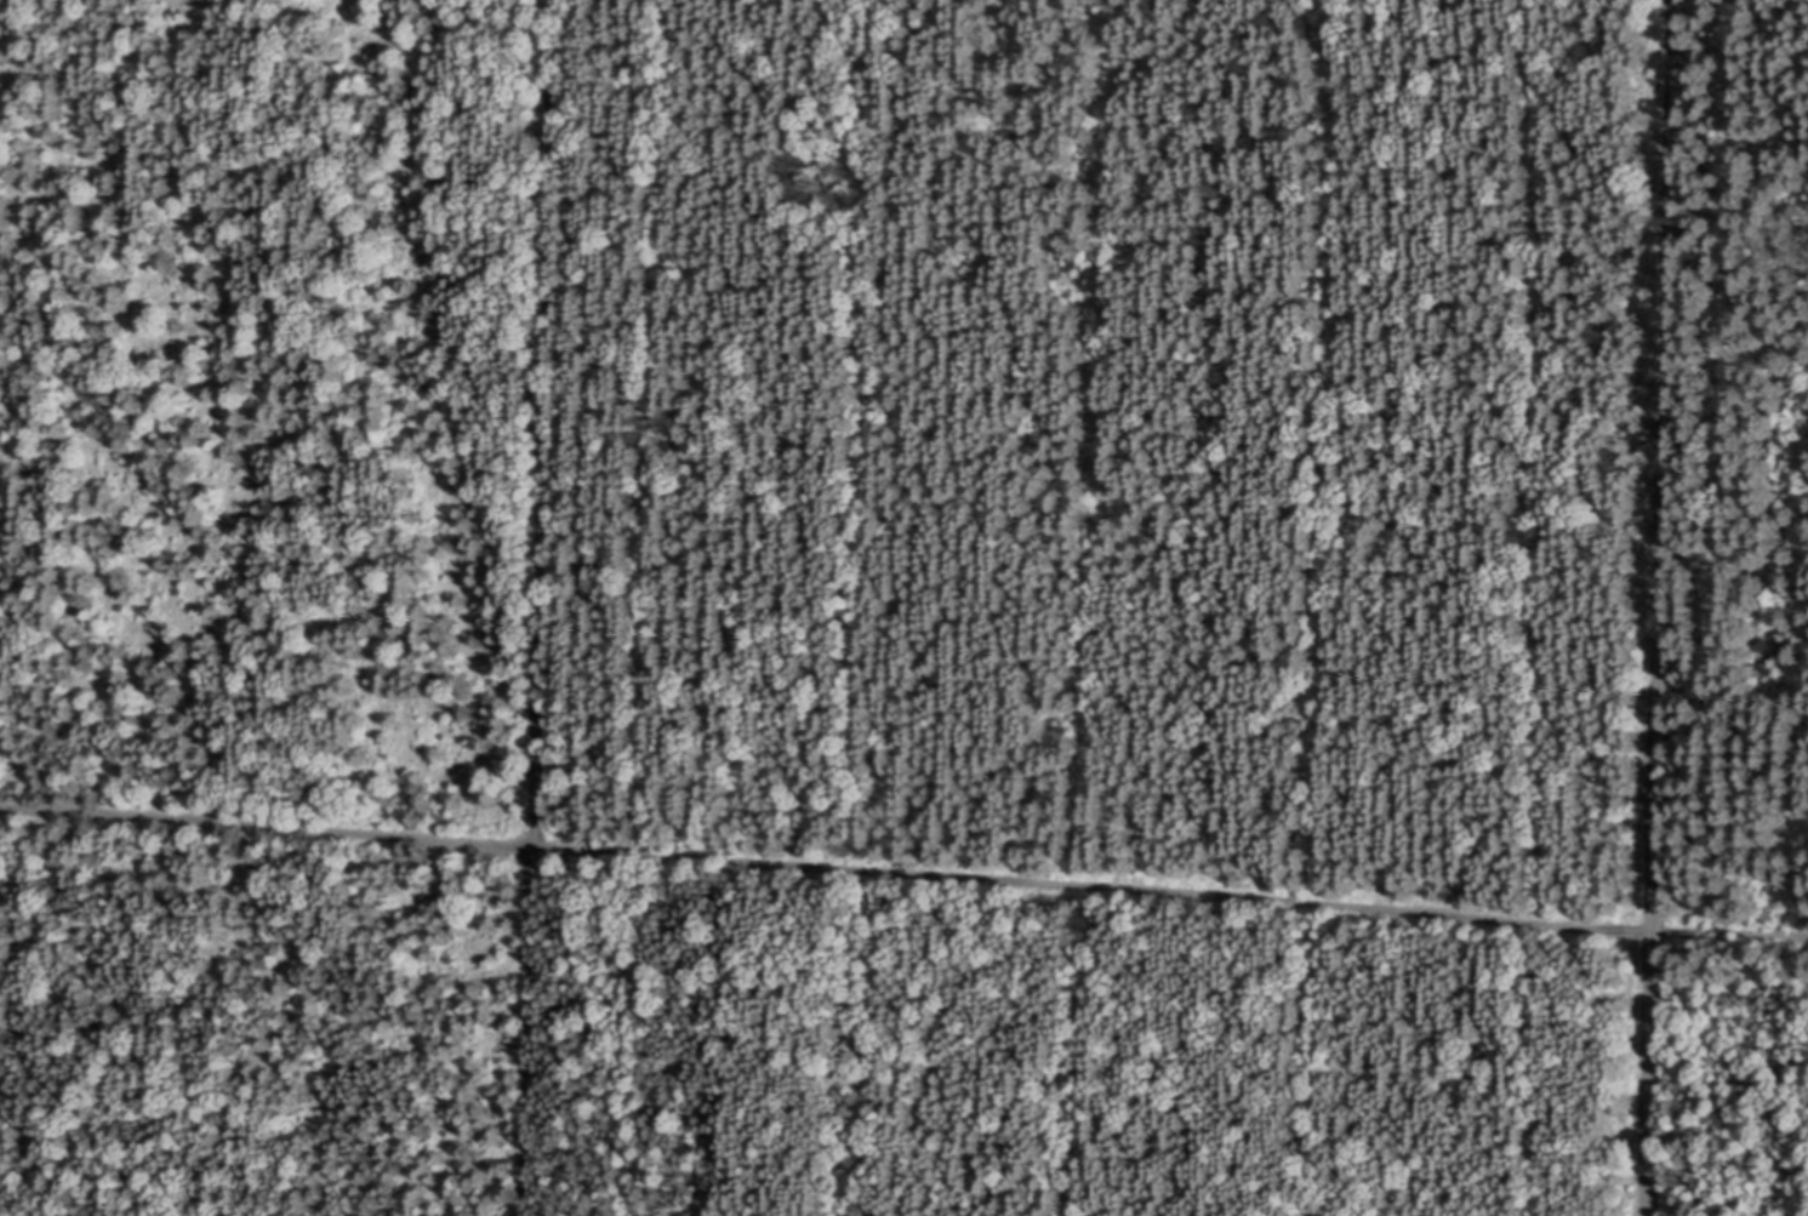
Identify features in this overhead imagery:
road: (535, 607)
road: (1661, 607)
road: (826, 866)
road: (1730, 934)

